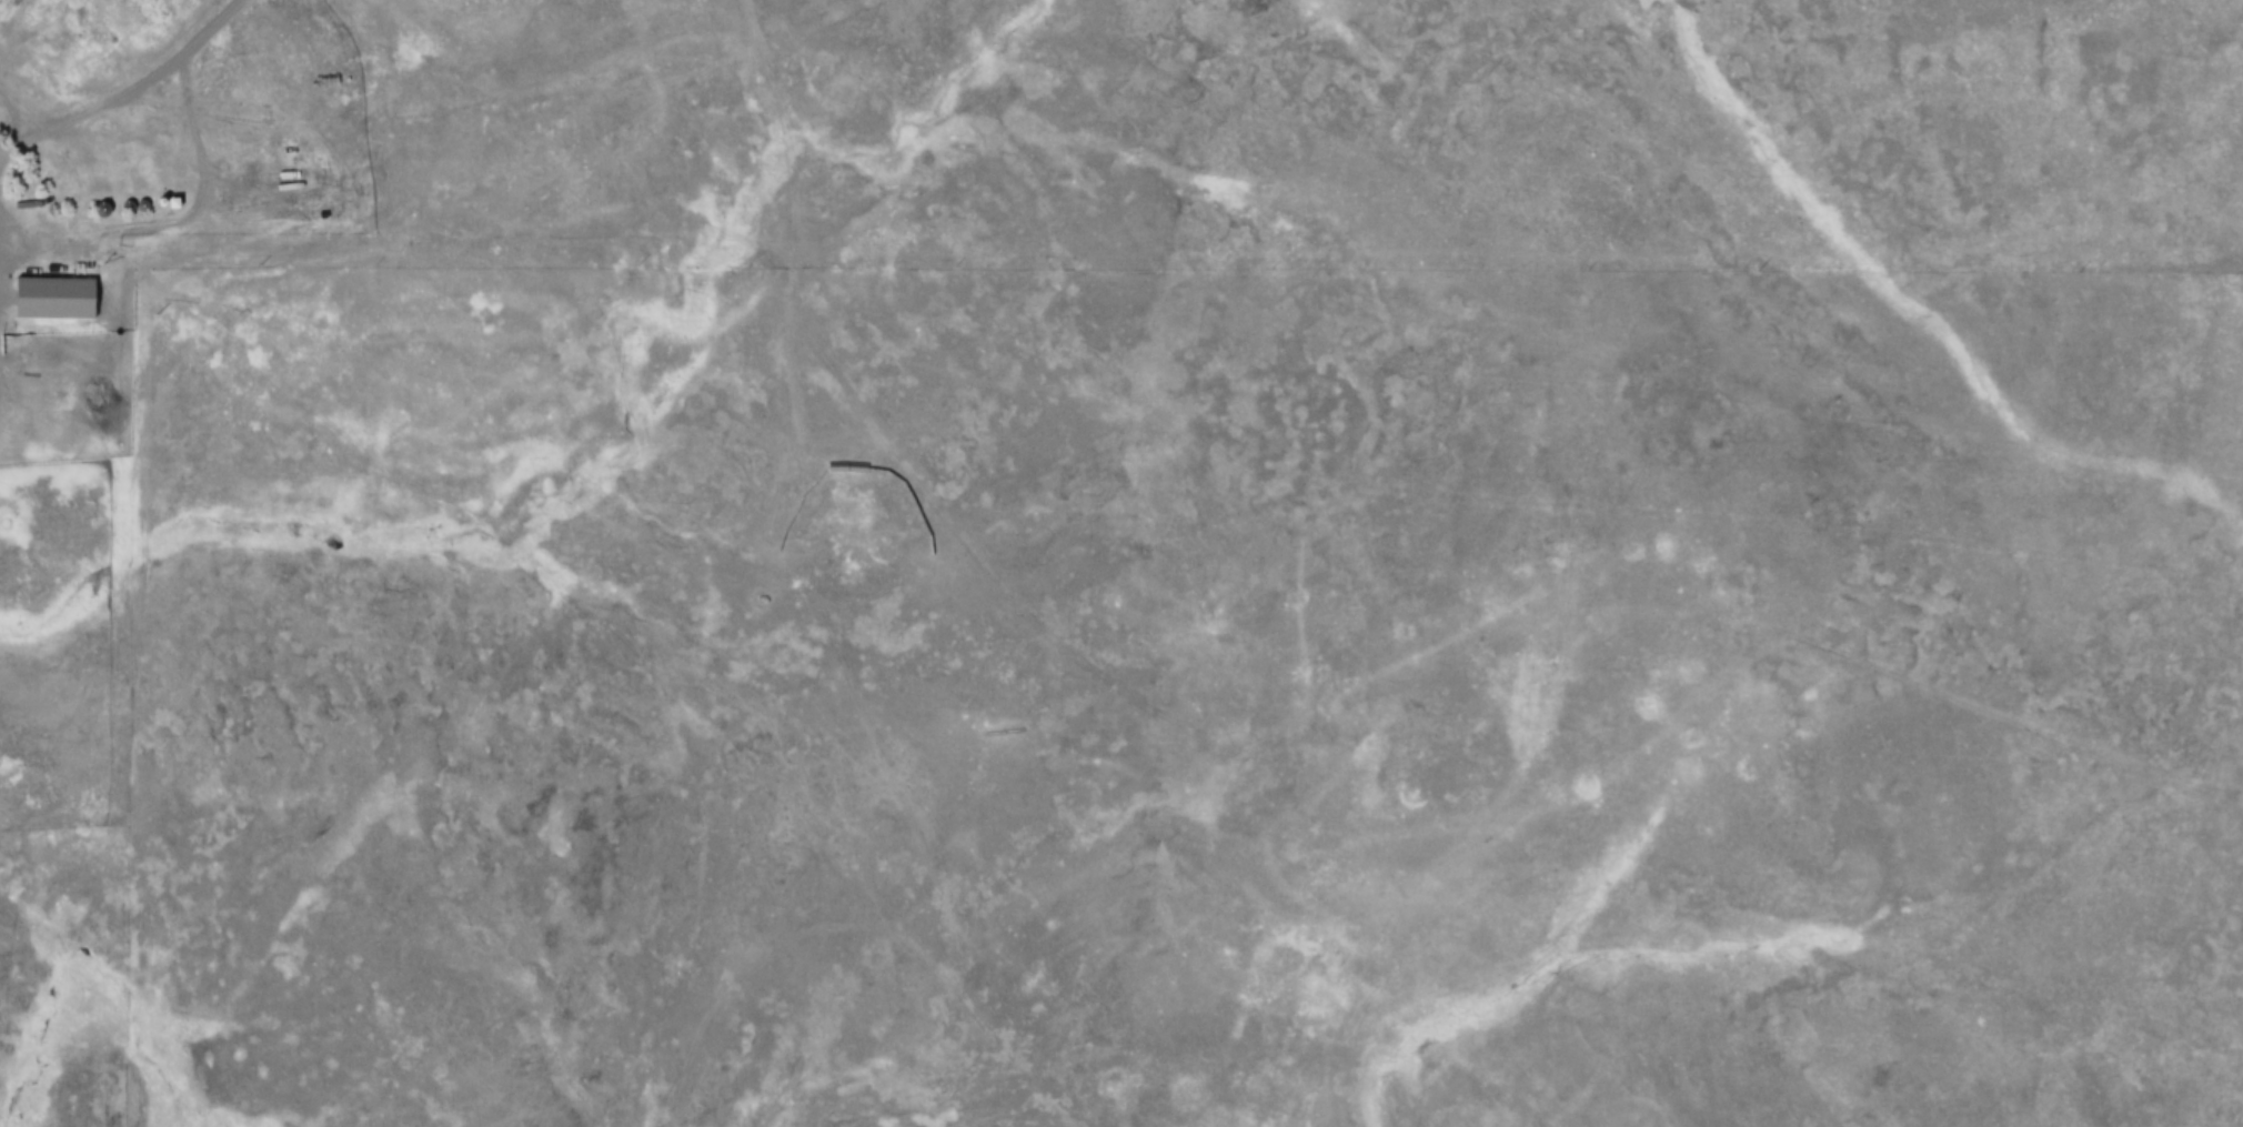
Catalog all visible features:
building: (164, 6)
road: (132, 93)
road: (19, 113)
building: (145, 199)
silo: (145, 199)
building: (132, 200)
silo: (132, 200)
building: (173, 200)
building: (159, 201)
silo: (159, 201)
building: (104, 203)
silo: (104, 203)
building: (54, 294)
dam: (497, 1117)

